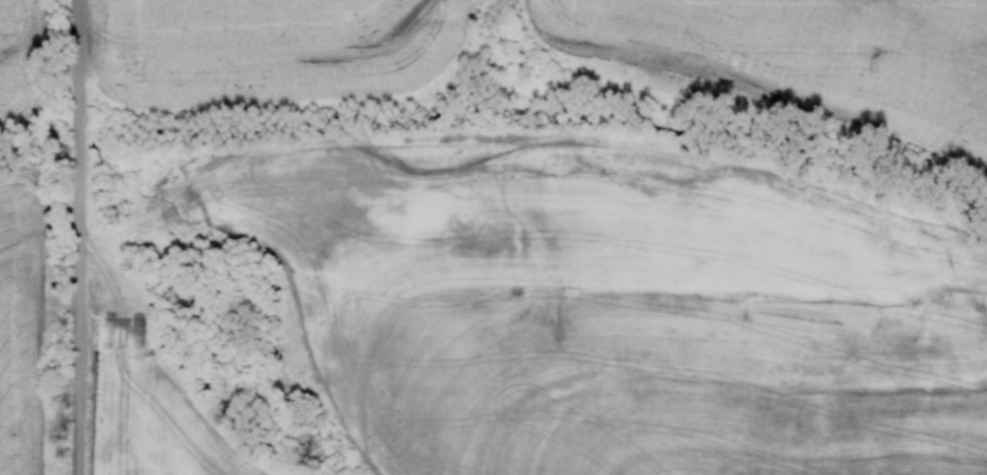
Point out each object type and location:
road: (83, 237)

